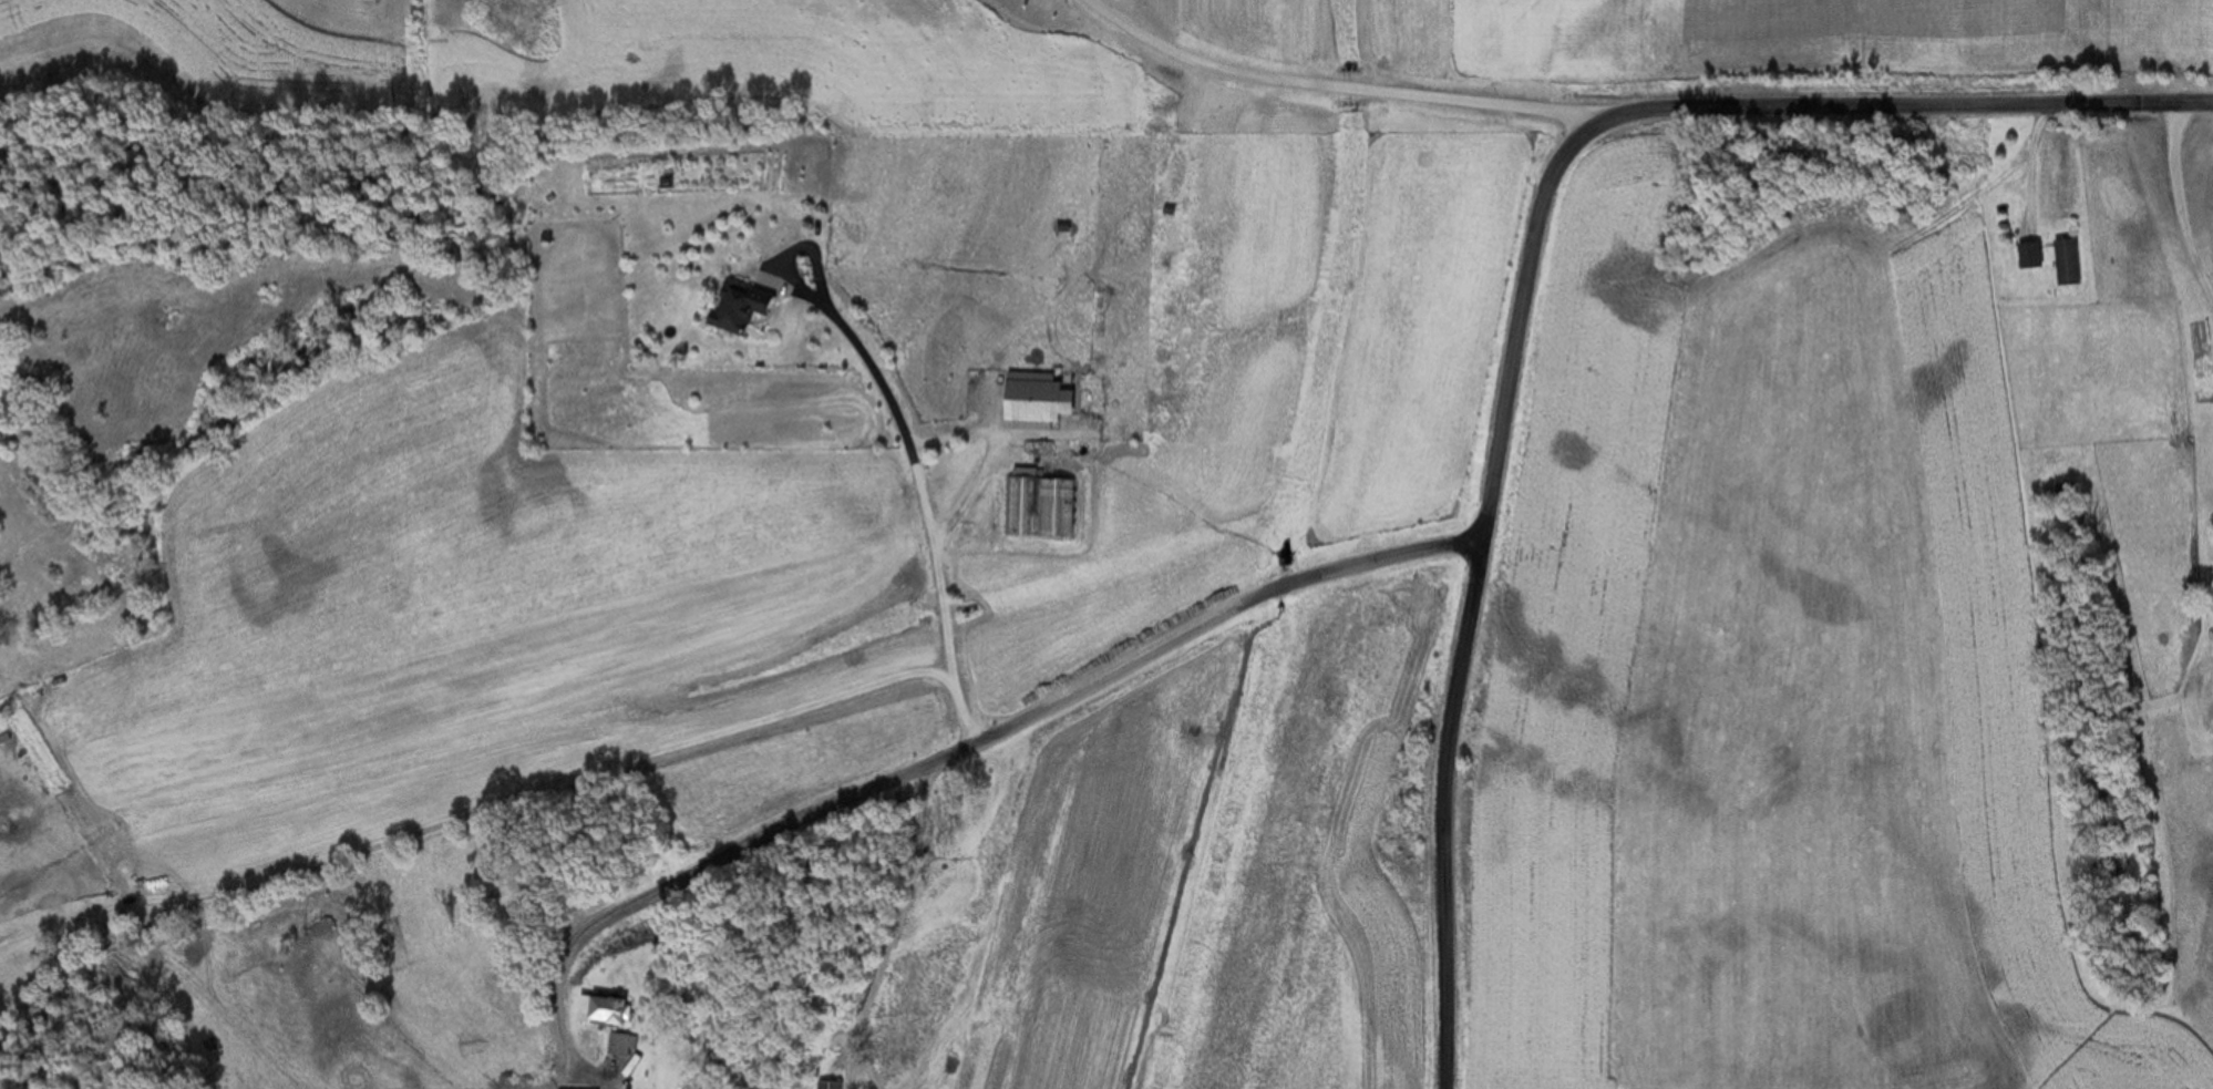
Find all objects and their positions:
road: (1329, 85)
road: (2173, 217)
building: (2034, 255)
building: (2070, 261)
road: (1522, 286)
building: (747, 306)
road: (828, 315)
building: (1040, 401)
road: (918, 492)
road: (957, 747)
road: (476, 805)
building: (610, 1008)
building: (831, 1083)

